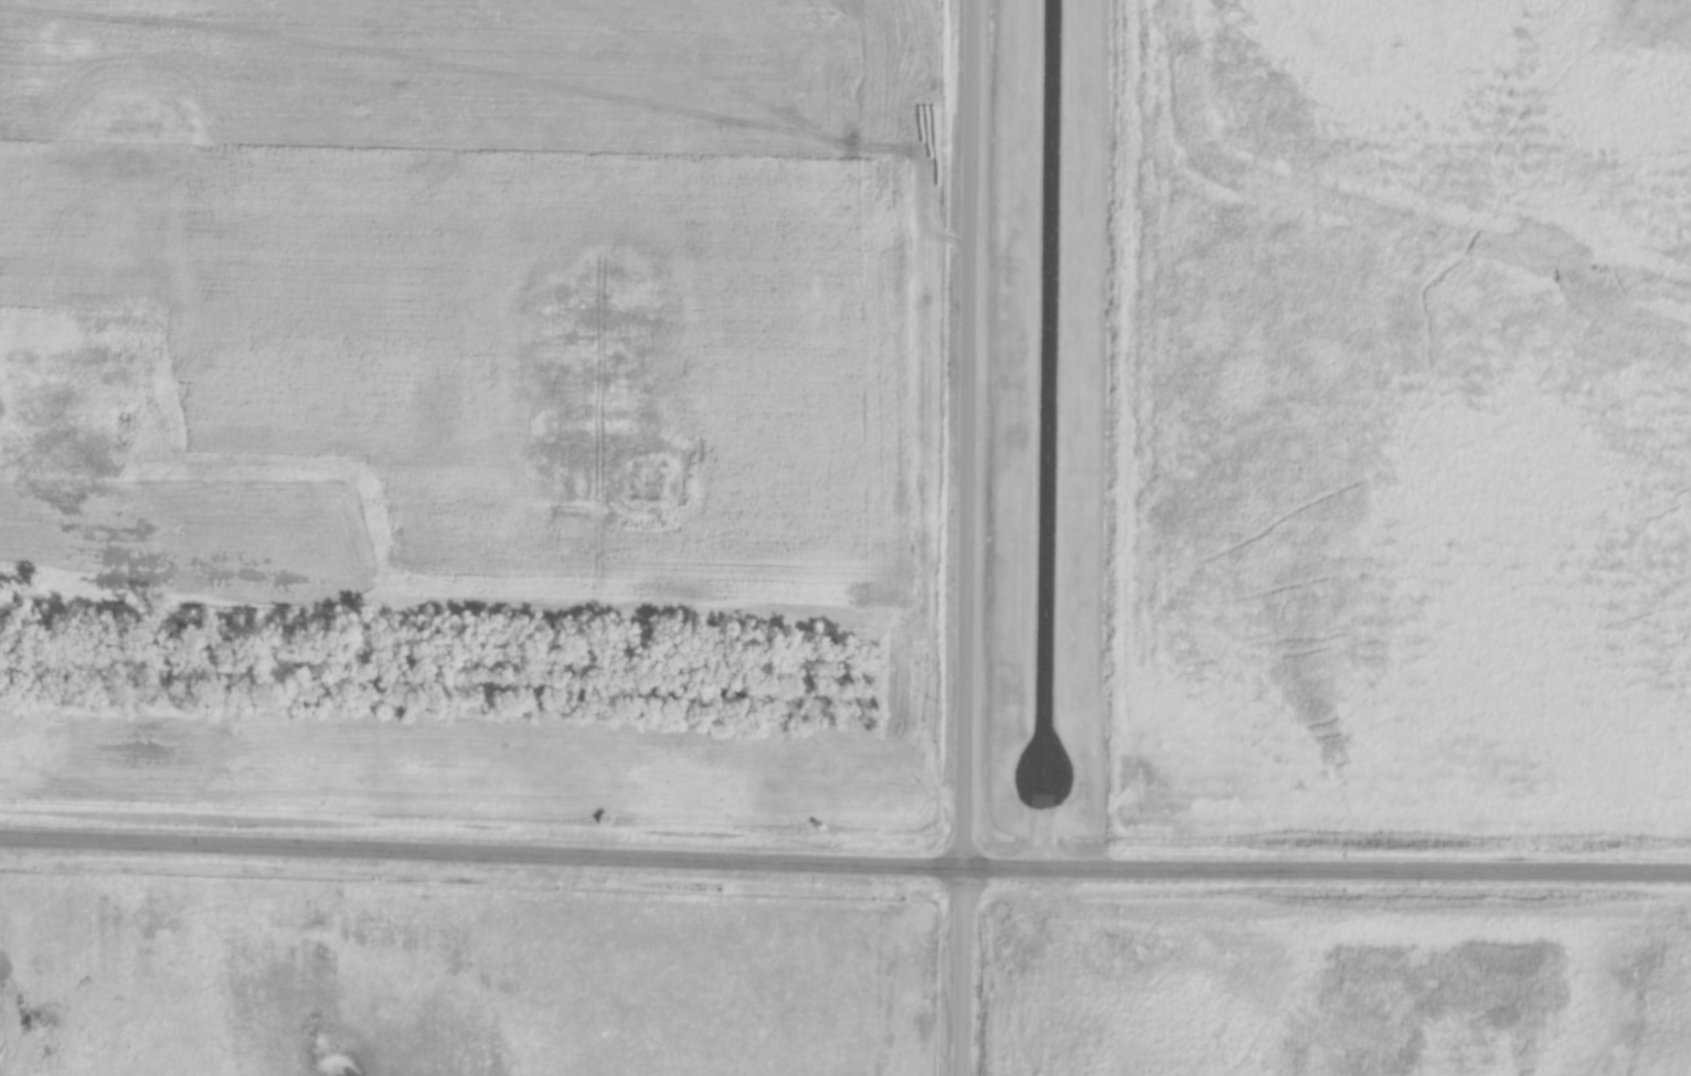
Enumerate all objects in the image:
airport runway: (1049, 387)
airport: (1341, 422)
road: (963, 537)
road: (844, 864)

